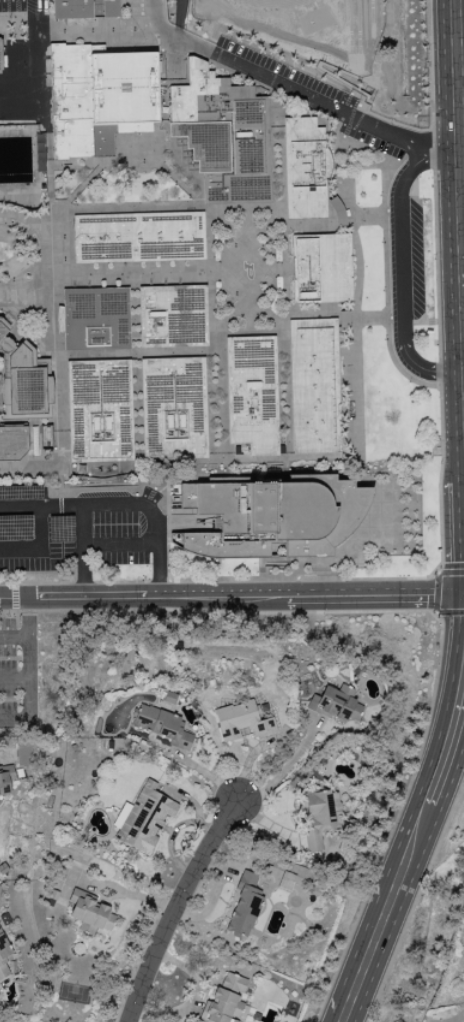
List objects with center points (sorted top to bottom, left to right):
track: (273, 3)
building: (82, 9)
road: (33, 60)
road: (320, 71)
road: (274, 84)
building: (97, 99)
building: (219, 134)
road: (428, 159)
building: (303, 169)
building: (136, 237)
road: (397, 251)
building: (319, 269)
road: (385, 289)
road: (449, 298)
building: (169, 317)
building: (93, 319)
road: (420, 367)
building: (19, 379)
building: (312, 386)
building: (249, 394)
building: (12, 443)
road: (119, 503)
road: (437, 506)
building: (272, 517)
road: (119, 544)
road: (40, 549)
road: (81, 550)
road: (229, 596)
road: (435, 596)
road: (461, 596)
traffic signals: (459, 597)
road: (14, 598)
road: (217, 612)
road: (14, 639)
road: (27, 640)
parking lot: (21, 674)
road: (13, 681)
building: (333, 704)
building: (242, 720)
building: (161, 726)
road: (4, 754)
road: (282, 771)
building: (5, 780)
road: (409, 813)
building: (141, 818)
building: (318, 818)
road: (410, 878)
road: (131, 895)
building: (243, 906)
road: (176, 909)
building: (88, 913)
building: (3, 958)
building: (223, 1001)
road: (460, 1019)

